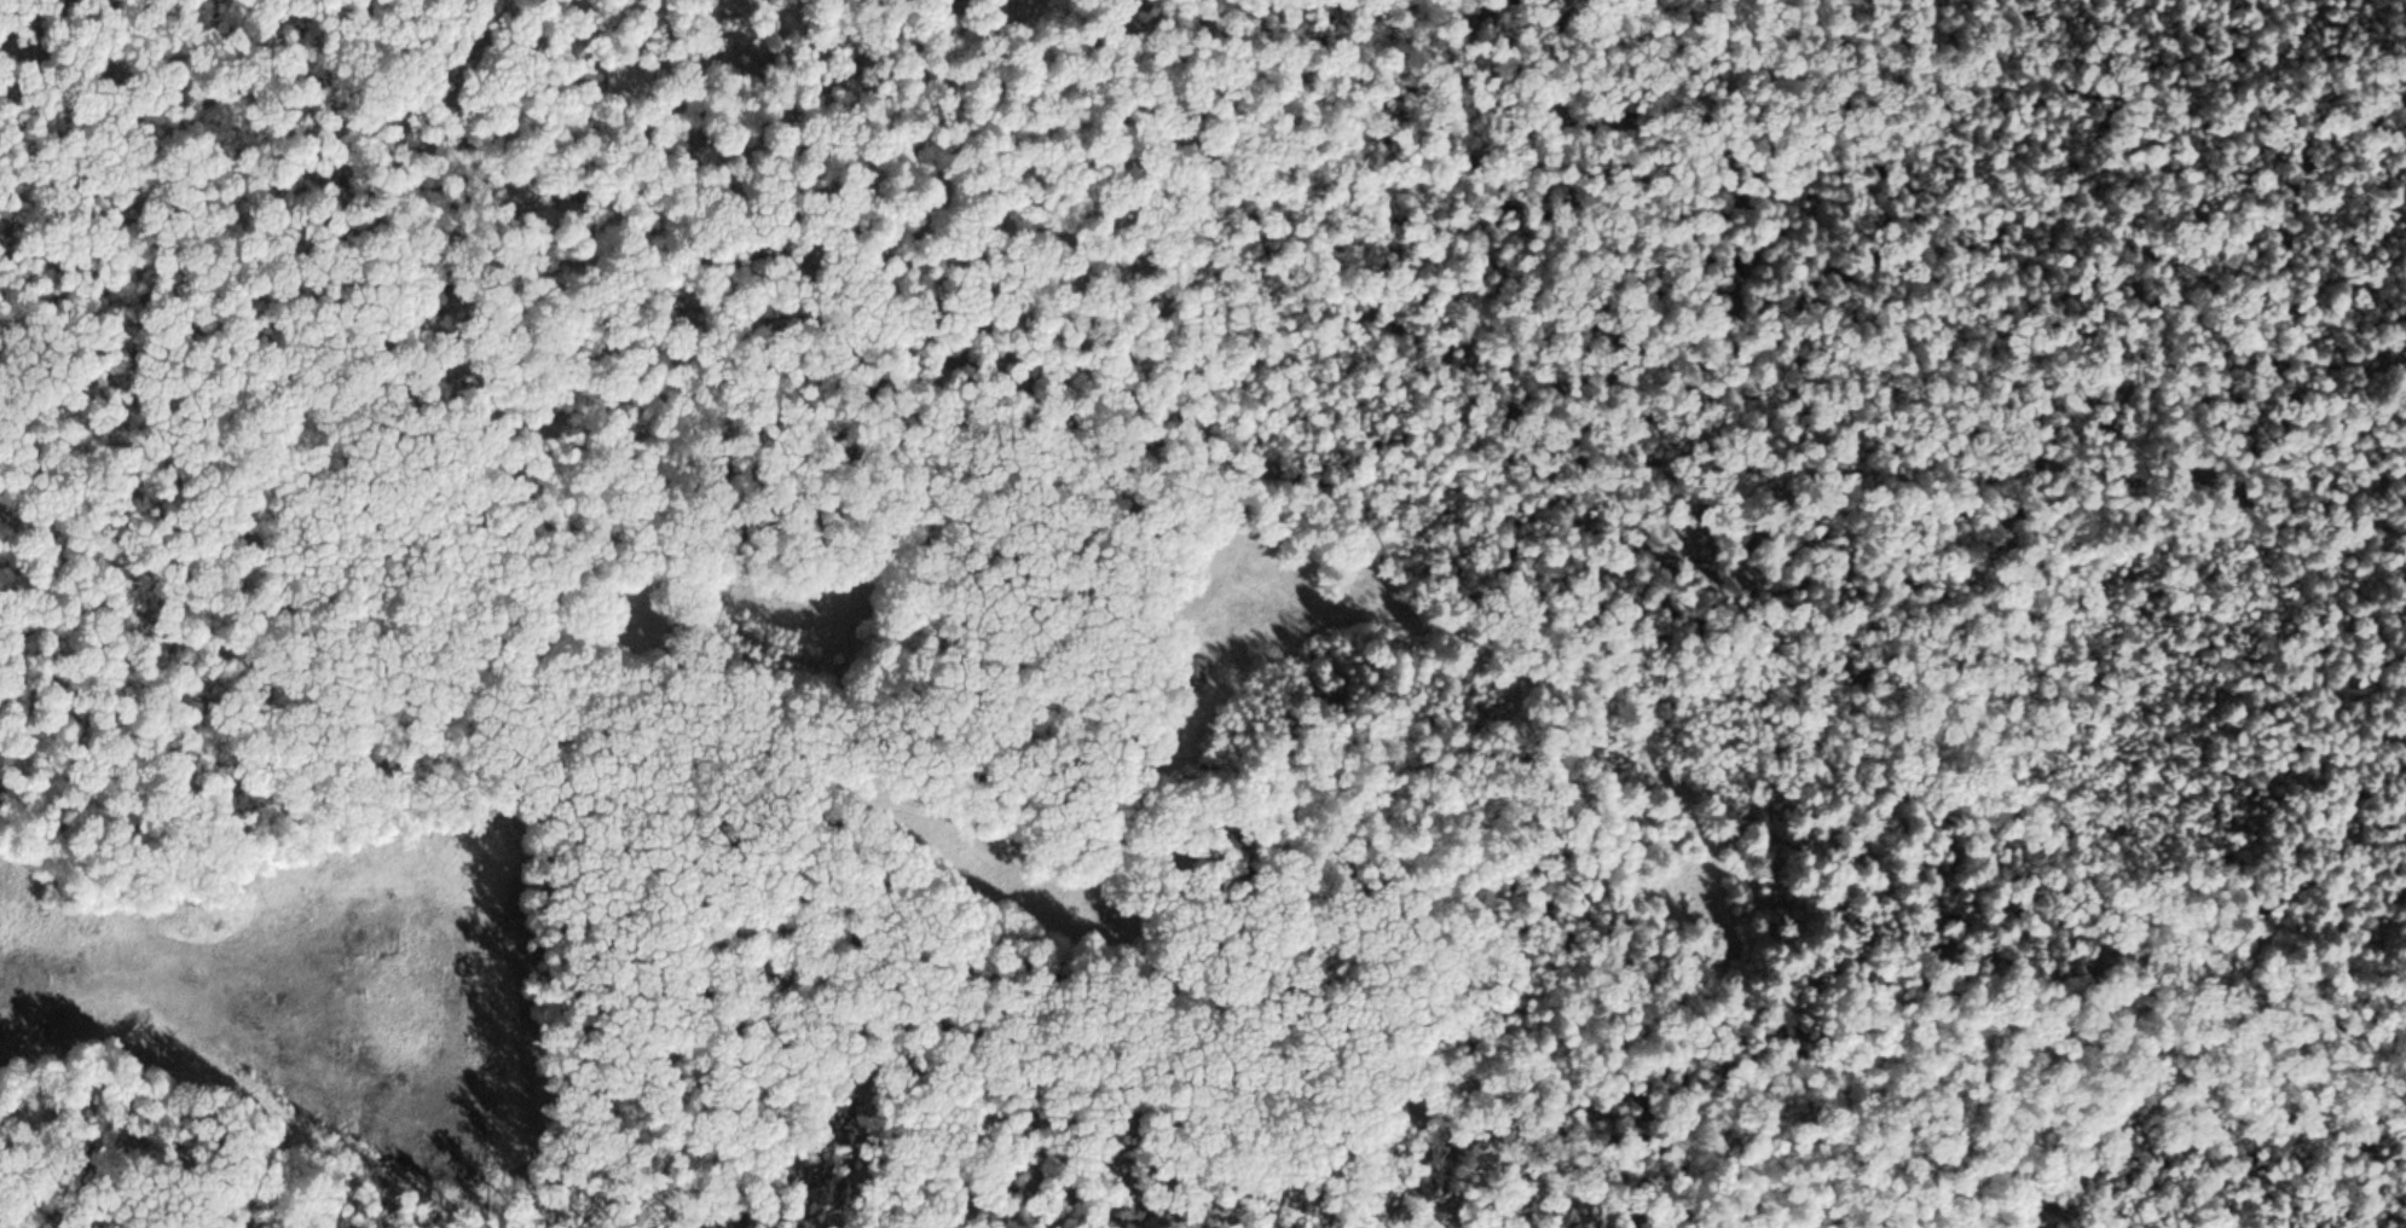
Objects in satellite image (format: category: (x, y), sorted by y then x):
road: (1112, 244)
building: (1175, 665)
road: (1665, 813)
road: (912, 832)
quarry: (307, 984)
road: (12, 1047)

